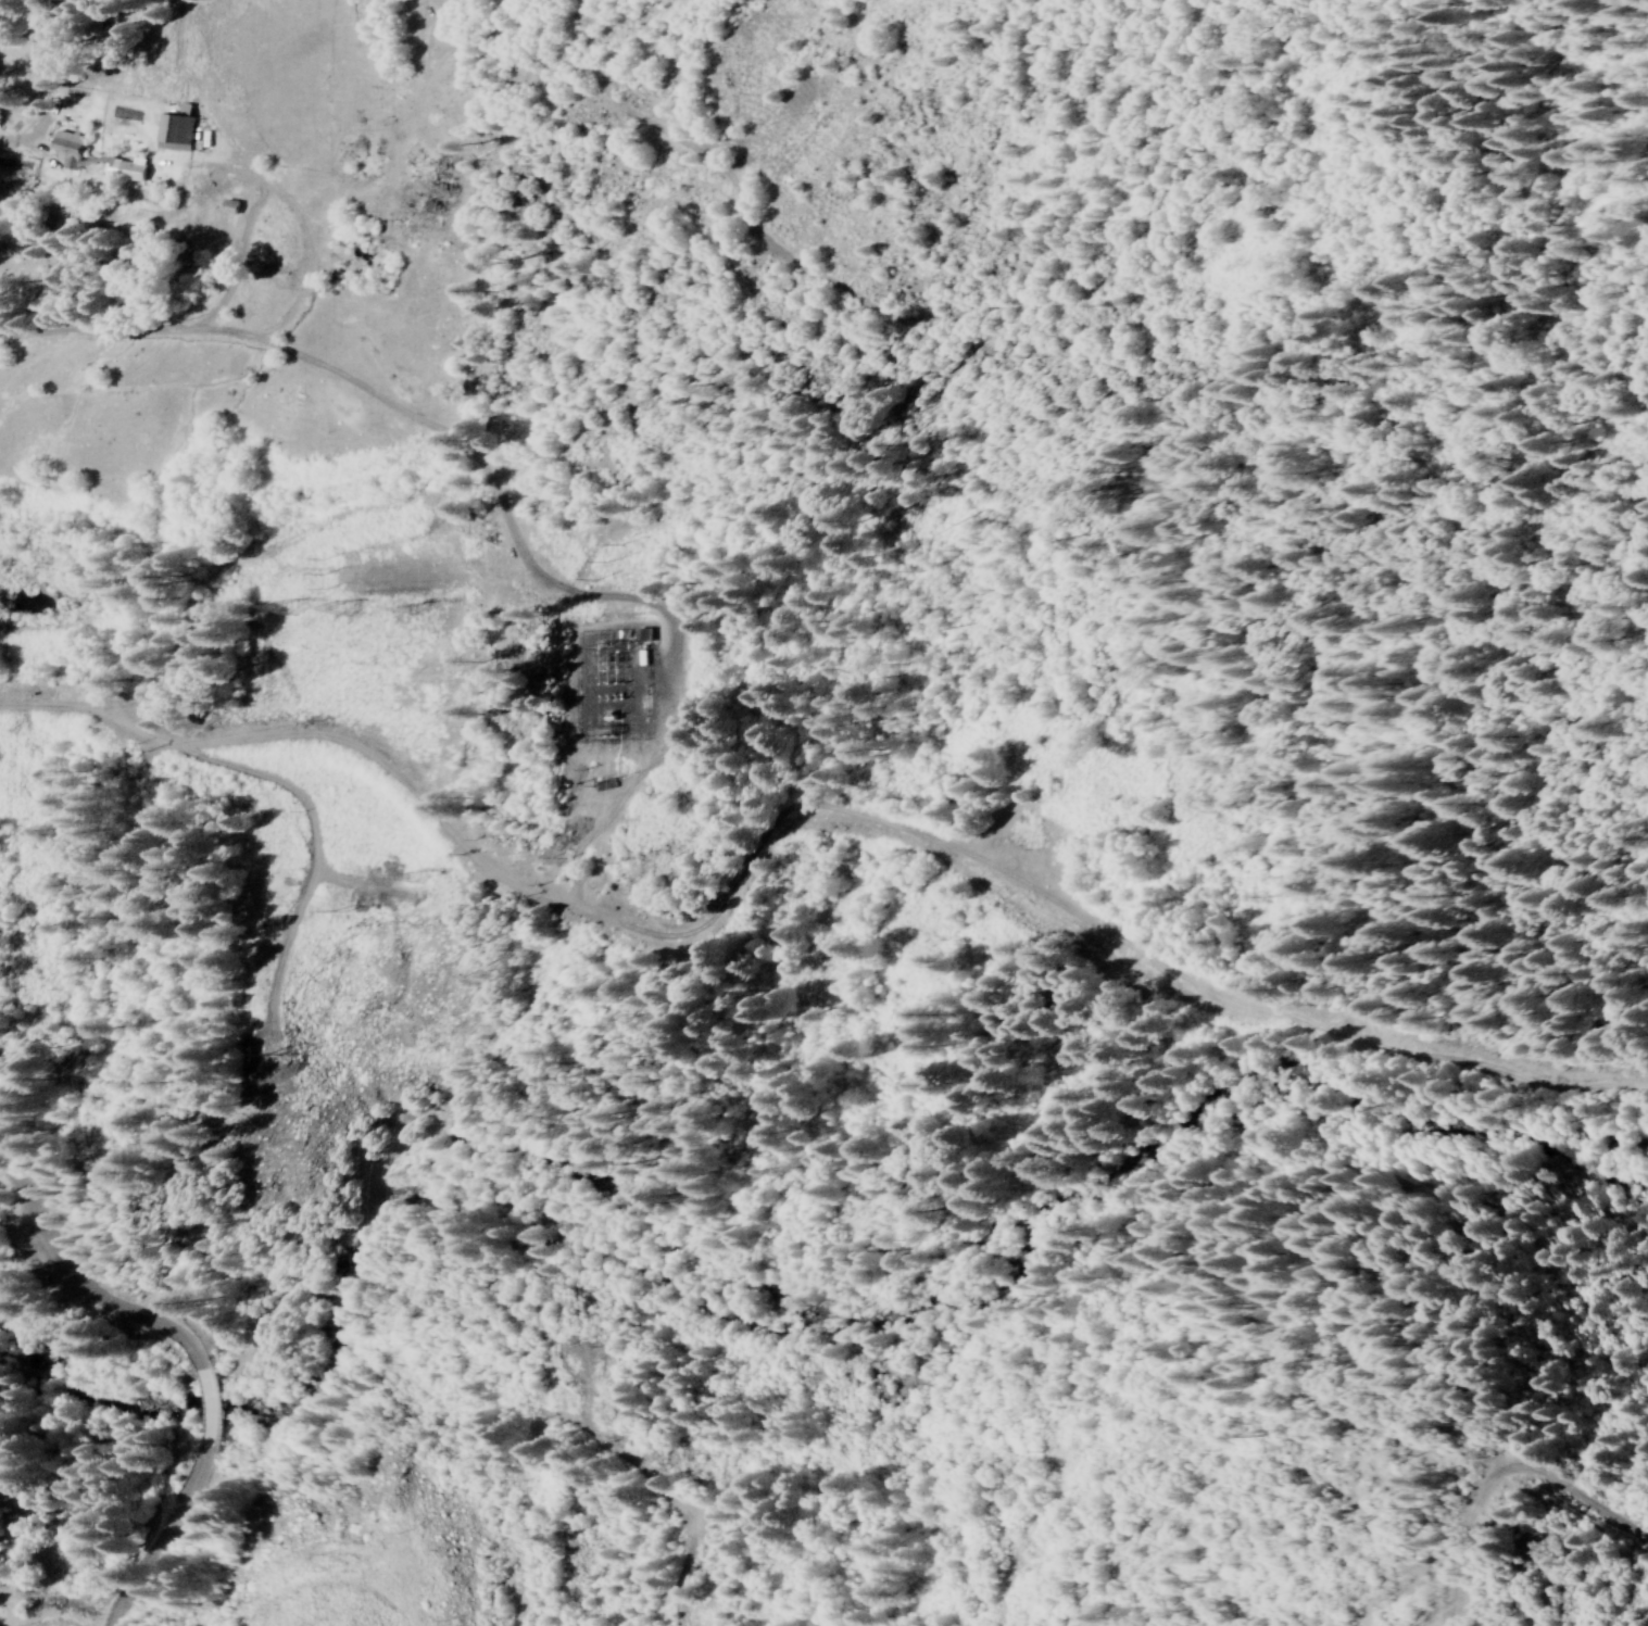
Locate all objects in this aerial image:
building: (175, 128)
building: (67, 148)
building: (126, 167)
building: (228, 206)
road: (932, 331)
power tower: (284, 608)
power tower: (338, 610)
power tower: (410, 614)
building: (640, 634)
power substation: (609, 684)
power tower: (410, 879)
power tower: (339, 915)
road: (255, 1358)

